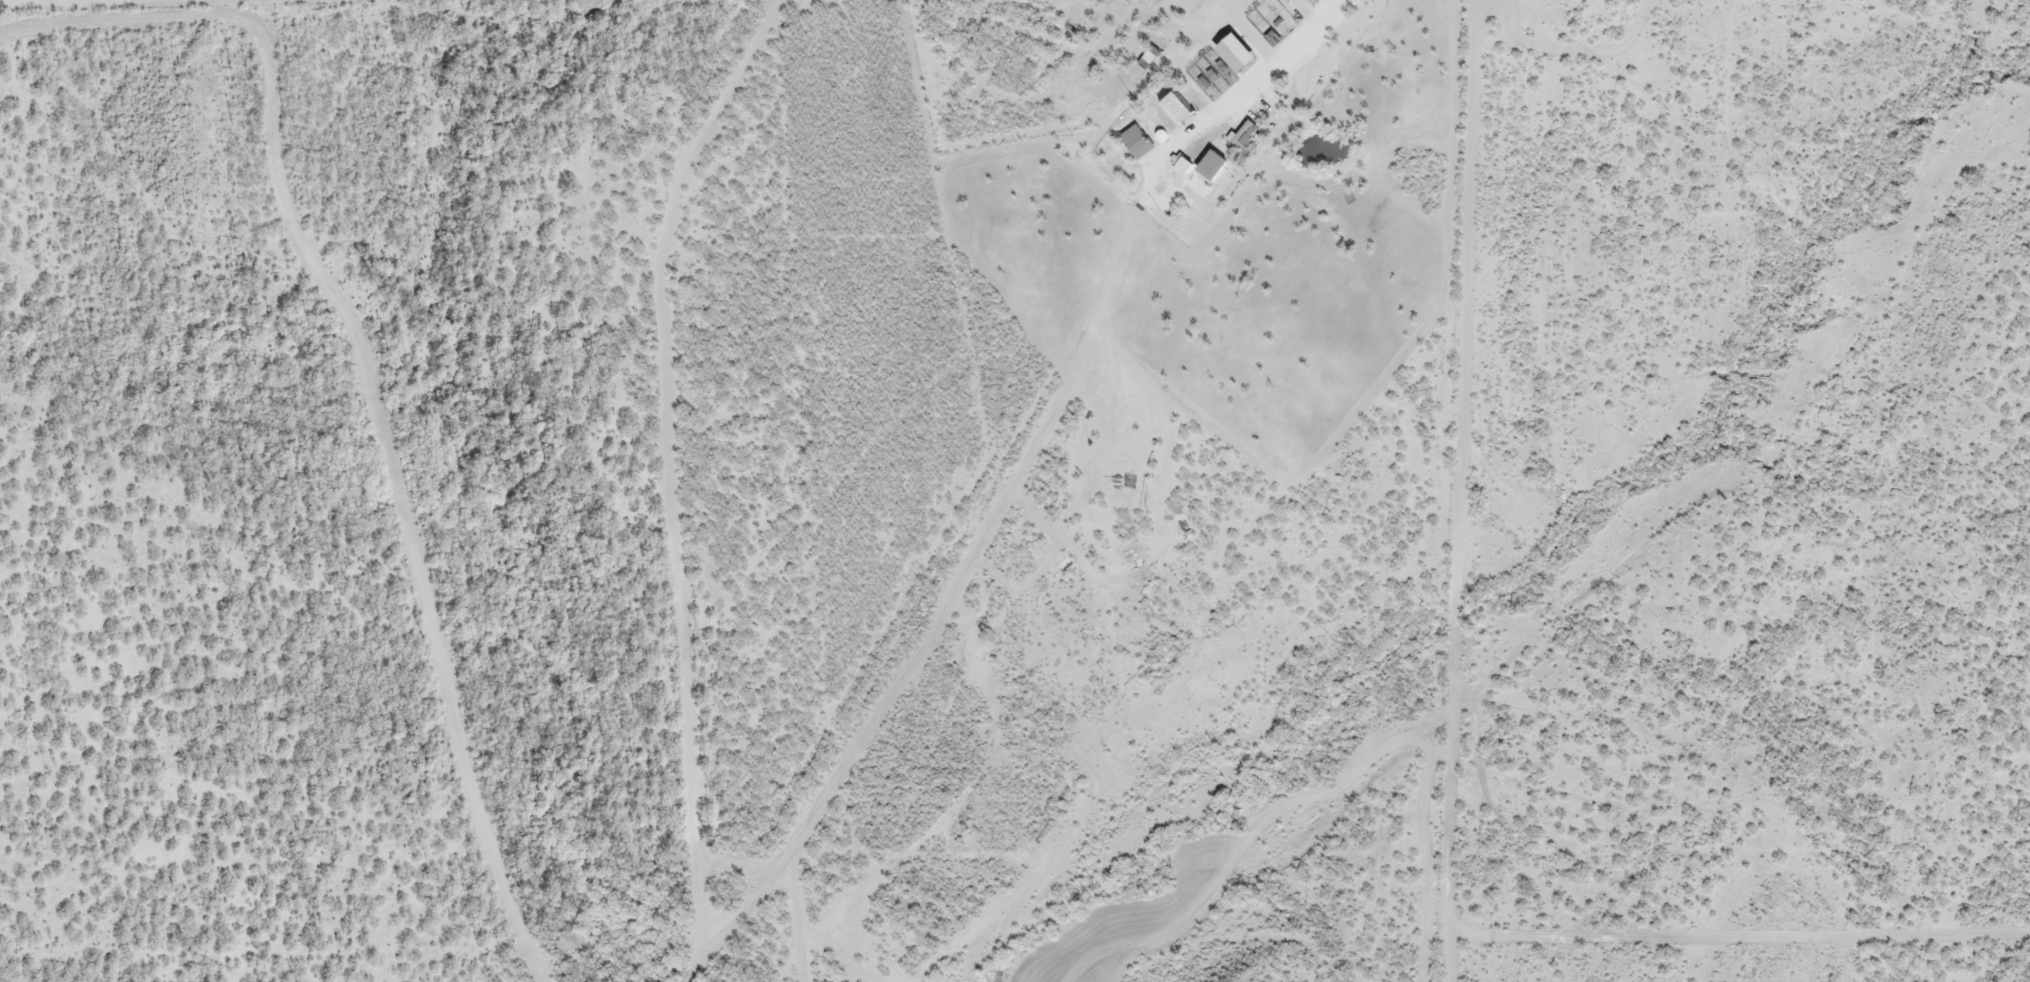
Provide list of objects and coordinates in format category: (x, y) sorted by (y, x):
building: (1210, 160)
road: (279, 586)

